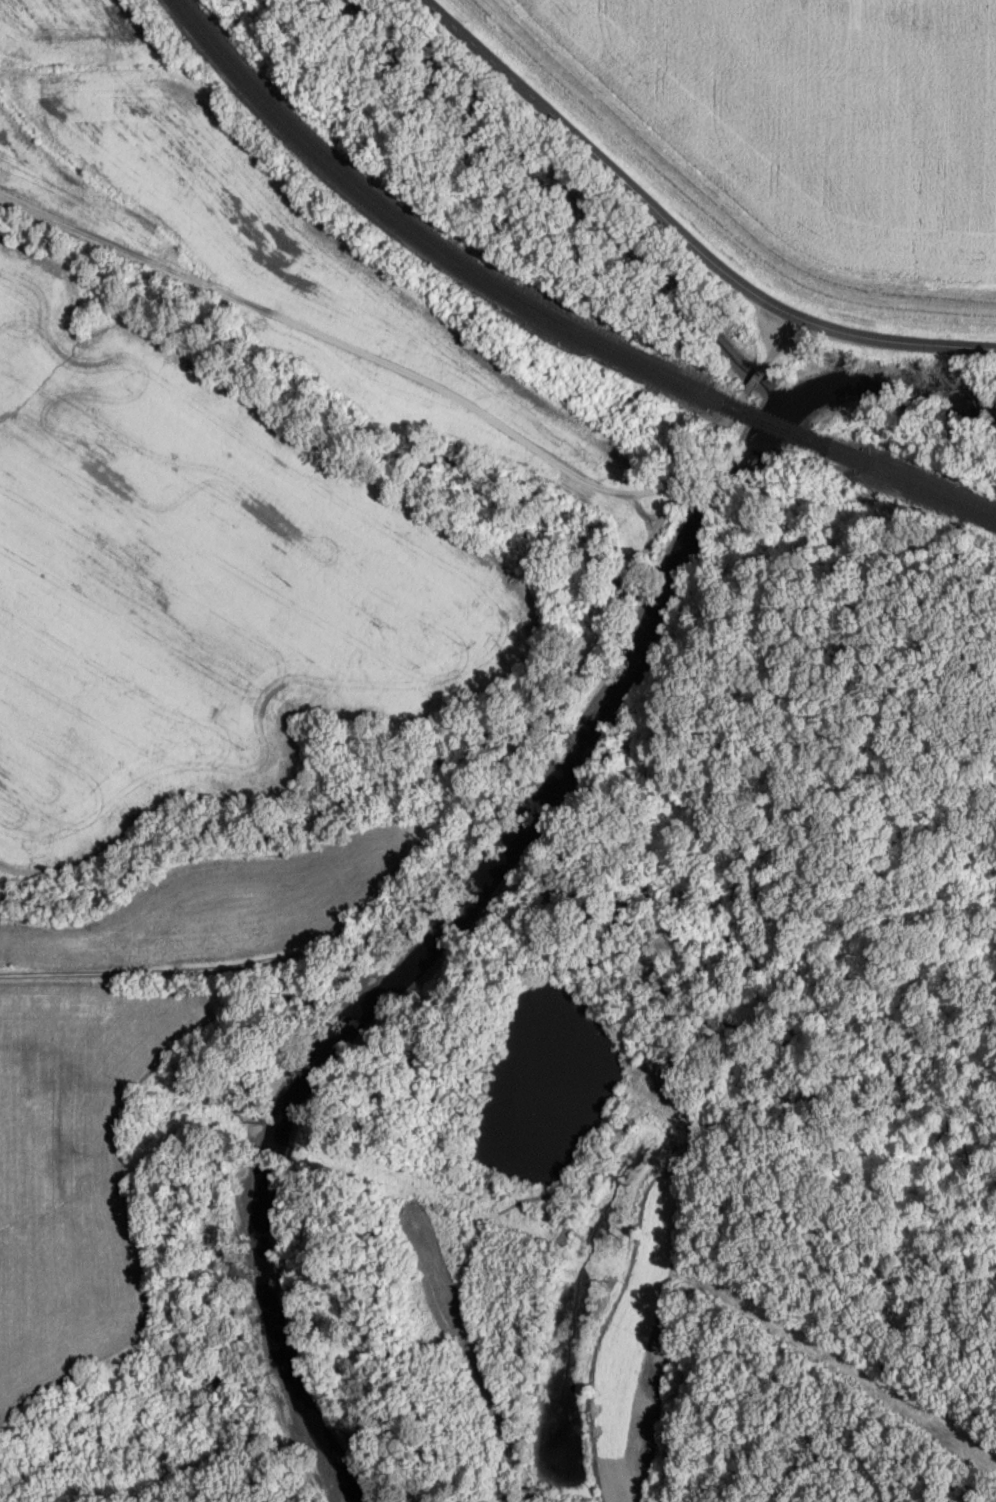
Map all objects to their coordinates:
crop: (826, 117)
road: (683, 235)
railway: (425, 237)
railway: (412, 246)
road: (782, 344)
road: (388, 373)
road: (753, 380)
railway: (779, 423)
railway: (775, 431)
railway: (914, 480)
railway: (912, 490)
road: (417, 828)
river: (488, 859)

